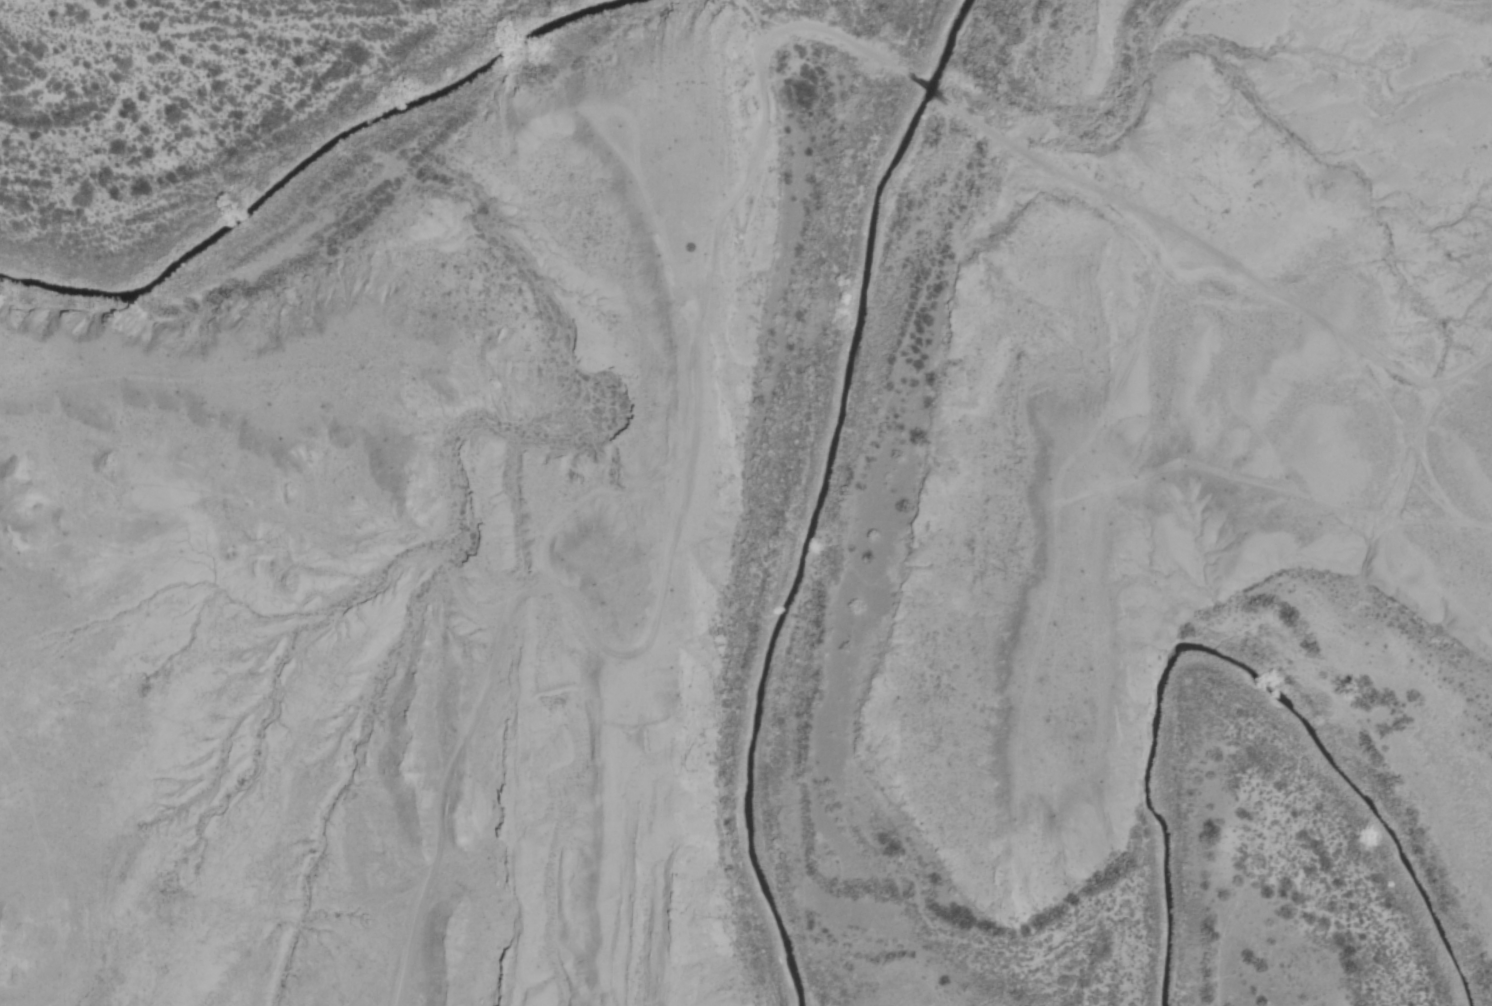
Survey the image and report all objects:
river: (324, 167)
river: (827, 501)
river: (1242, 668)

